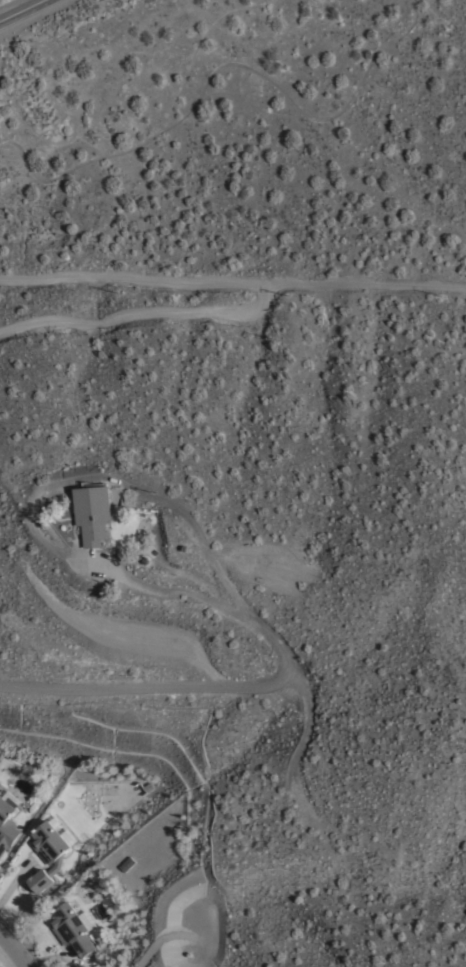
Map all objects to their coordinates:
road: (22, 10)
road: (233, 279)
road: (141, 313)
road: (45, 489)
building: (94, 510)
road: (173, 686)
building: (8, 821)
building: (47, 853)
building: (127, 862)
building: (72, 928)
road: (15, 947)

